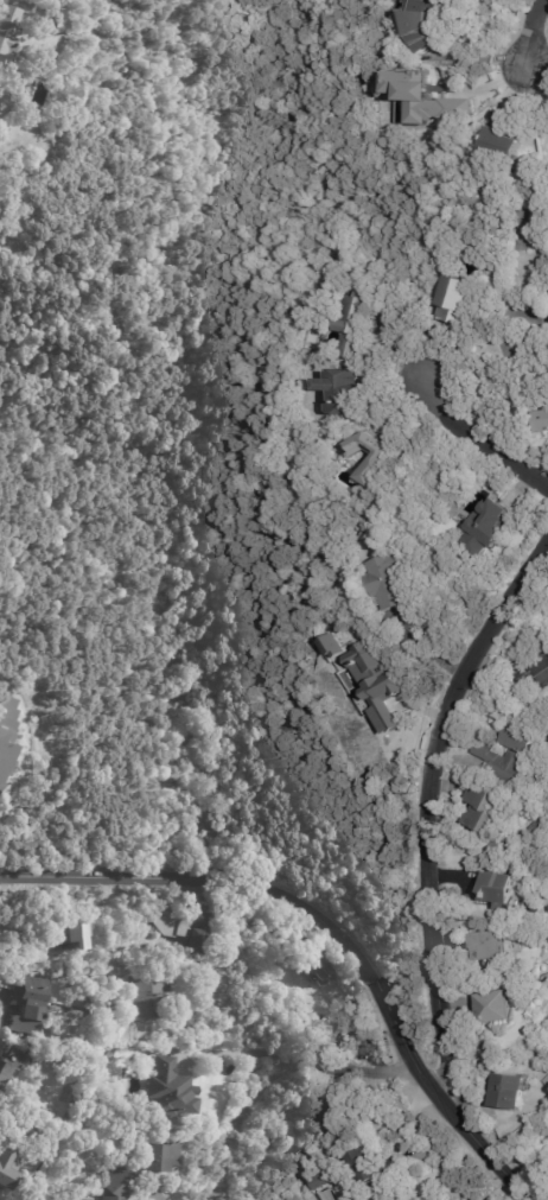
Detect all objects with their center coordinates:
building: (425, 23)
building: (7, 33)
road: (525, 36)
building: (427, 99)
building: (501, 142)
building: (527, 230)
building: (451, 303)
building: (350, 315)
building: (348, 349)
building: (342, 395)
building: (542, 423)
road: (482, 431)
building: (378, 459)
building: (489, 529)
building: (385, 584)
building: (327, 646)
building: (531, 671)
building: (374, 684)
building: (6, 730)
building: (505, 755)
road: (426, 812)
building: (479, 812)
building: (495, 888)
road: (329, 925)
building: (186, 927)
building: (63, 934)
road: (106, 935)
building: (488, 945)
building: (33, 947)
building: (316, 963)
building: (147, 997)
building: (26, 1004)
building: (495, 1008)
road: (298, 1058)
building: (7, 1062)
building: (166, 1088)
building: (508, 1092)
road: (242, 1123)
building: (338, 1125)
building: (15, 1142)
building: (375, 1166)
building: (6, 1167)
building: (138, 1170)
building: (319, 1181)

